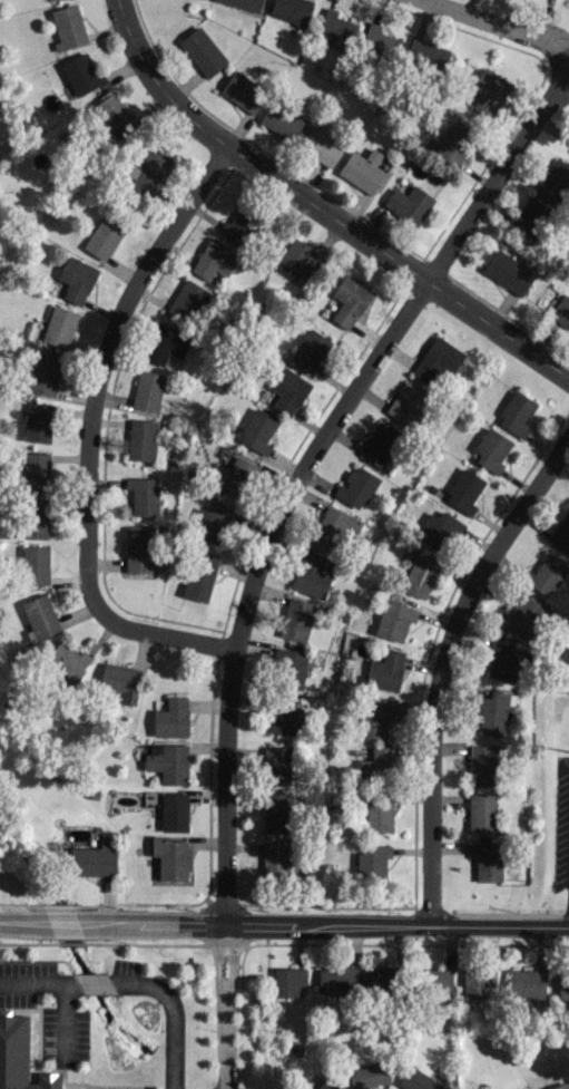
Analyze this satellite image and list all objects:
building: (245, 3)
building: (291, 10)
road: (492, 23)
building: (67, 27)
building: (336, 29)
building: (381, 41)
building: (202, 50)
building: (426, 55)
building: (81, 72)
building: (488, 90)
building: (243, 91)
building: (111, 113)
building: (281, 119)
building: (453, 143)
building: (321, 144)
building: (146, 167)
building: (362, 169)
building: (553, 179)
building: (409, 204)
road: (318, 210)
building: (529, 220)
building: (239, 226)
building: (104, 236)
building: (297, 257)
building: (214, 259)
building: (508, 271)
building: (76, 279)
building: (186, 300)
building: (349, 300)
building: (561, 311)
building: (59, 325)
building: (165, 343)
building: (311, 351)
building: (436, 362)
building: (43, 373)
building: (147, 389)
building: (287, 390)
building: (406, 402)
building: (516, 414)
building: (38, 421)
building: (257, 430)
road: (86, 432)
building: (141, 439)
building: (380, 444)
building: (491, 449)
road: (306, 460)
building: (37, 470)
building: (238, 476)
building: (356, 487)
building: (464, 490)
building: (143, 495)
building: (35, 517)
building: (213, 524)
building: (333, 525)
building: (439, 529)
building: (138, 548)
building: (36, 564)
building: (545, 574)
building: (311, 575)
building: (419, 575)
building: (199, 576)
building: (39, 616)
building: (522, 616)
building: (296, 619)
building: (394, 619)
building: (67, 661)
building: (503, 661)
road: (440, 665)
building: (288, 668)
building: (385, 670)
building: (120, 681)
building: (493, 711)
building: (285, 714)
building: (171, 718)
building: (374, 718)
building: (168, 761)
building: (376, 764)
building: (275, 765)
building: (482, 765)
building: (174, 811)
building: (276, 811)
building: (481, 813)
building: (379, 814)
building: (170, 857)
building: (94, 858)
building: (275, 858)
building: (487, 860)
building: (372, 862)
road: (38, 918)
road: (322, 924)
building: (380, 978)
building: (336, 979)
building: (287, 980)
building: (433, 980)
road: (38, 981)
road: (94, 981)
building: (478, 981)
building: (562, 985)
road: (226, 1005)
road: (171, 1012)
road: (63, 1020)
building: (19, 1057)
building: (367, 1075)
building: (416, 1080)
building: (324, 1086)
building: (559, 1086)

